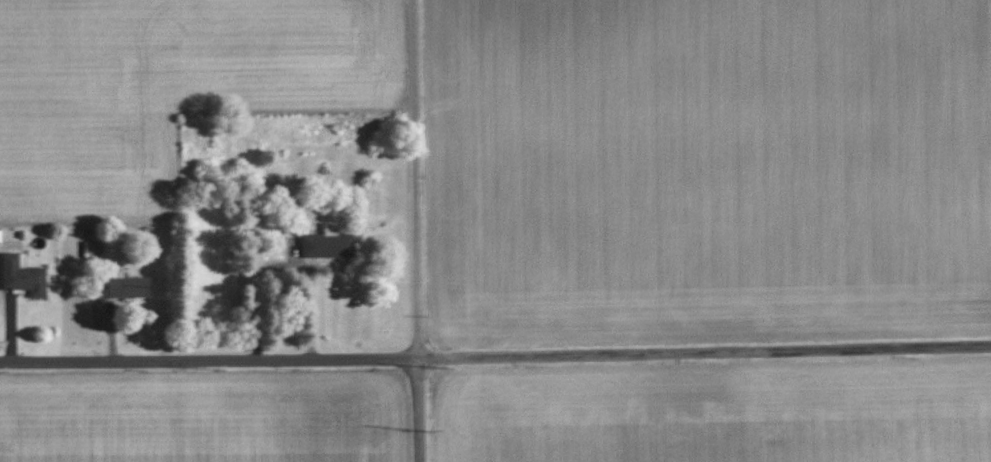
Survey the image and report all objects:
road: (412, 231)
building: (323, 244)
building: (19, 275)
road: (495, 355)
power tower: (441, 368)
power tower: (218, 371)
power tower: (1, 374)
power tower: (430, 431)

